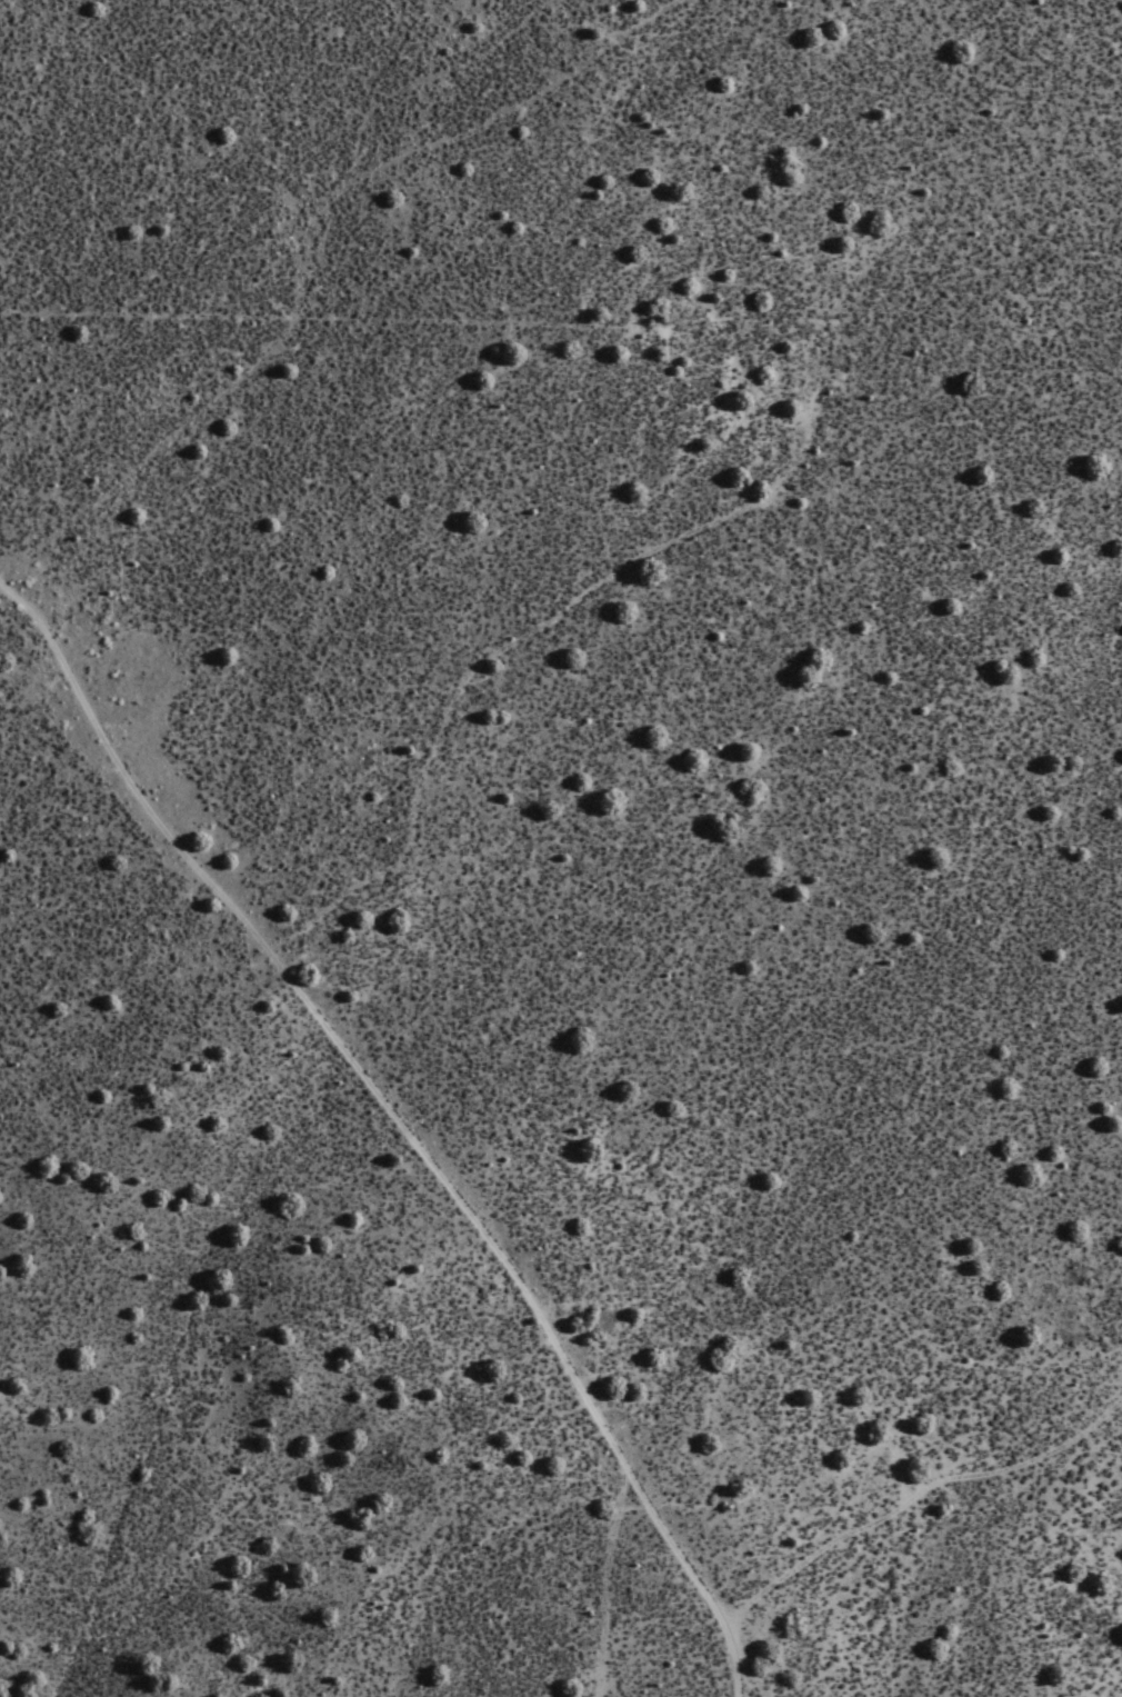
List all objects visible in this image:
road: (409, 1111)
road: (922, 1491)

